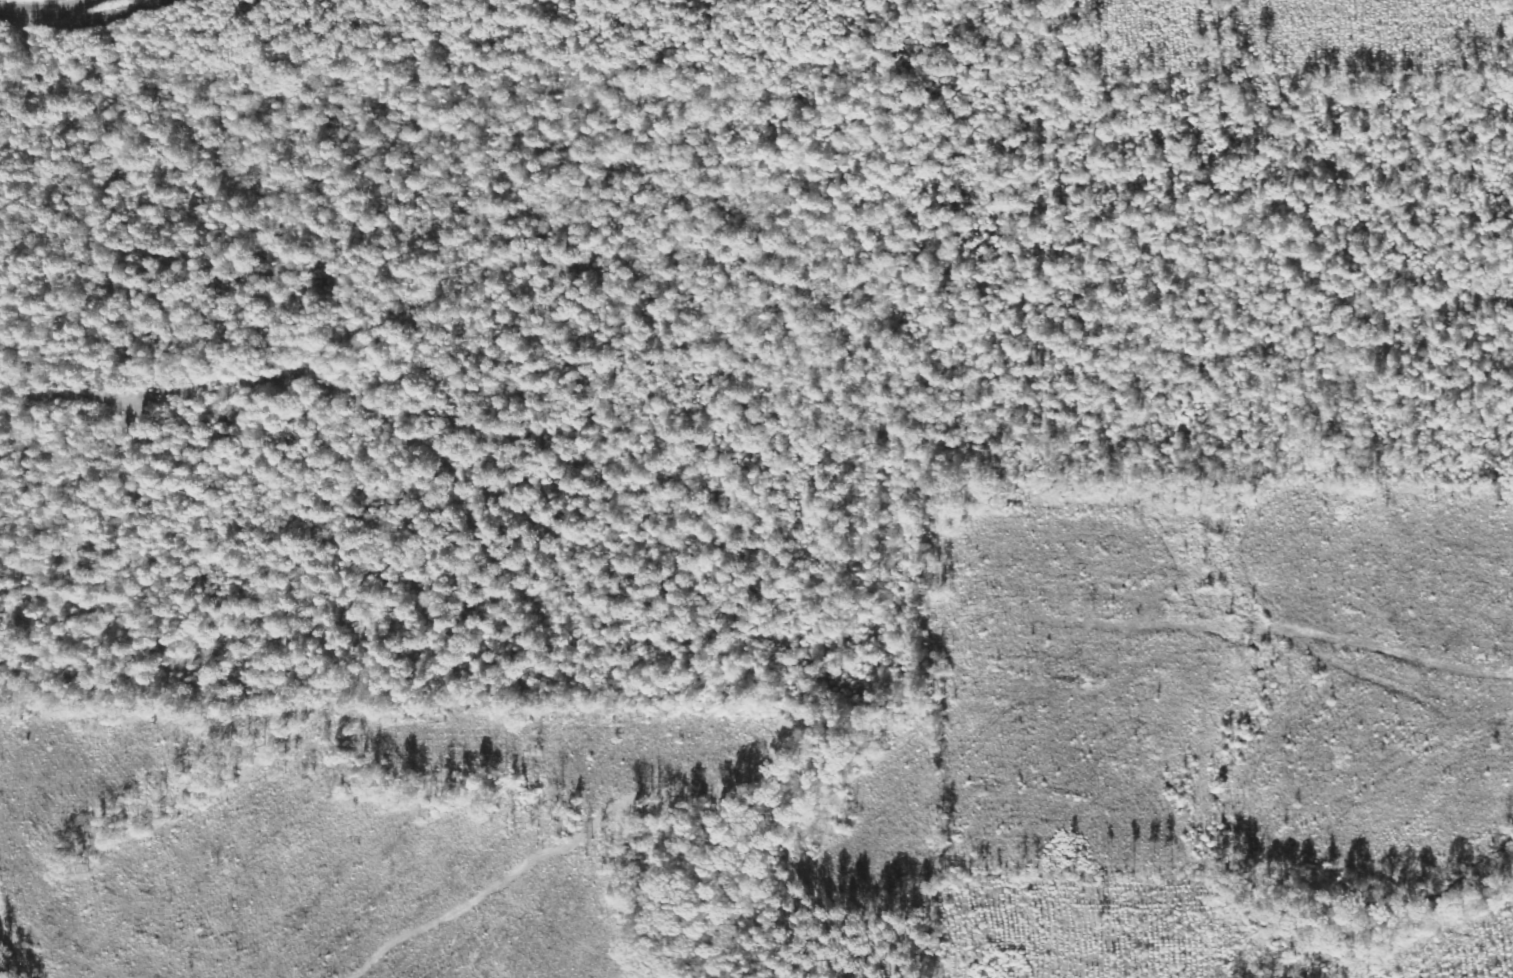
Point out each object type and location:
road: (69, 16)

